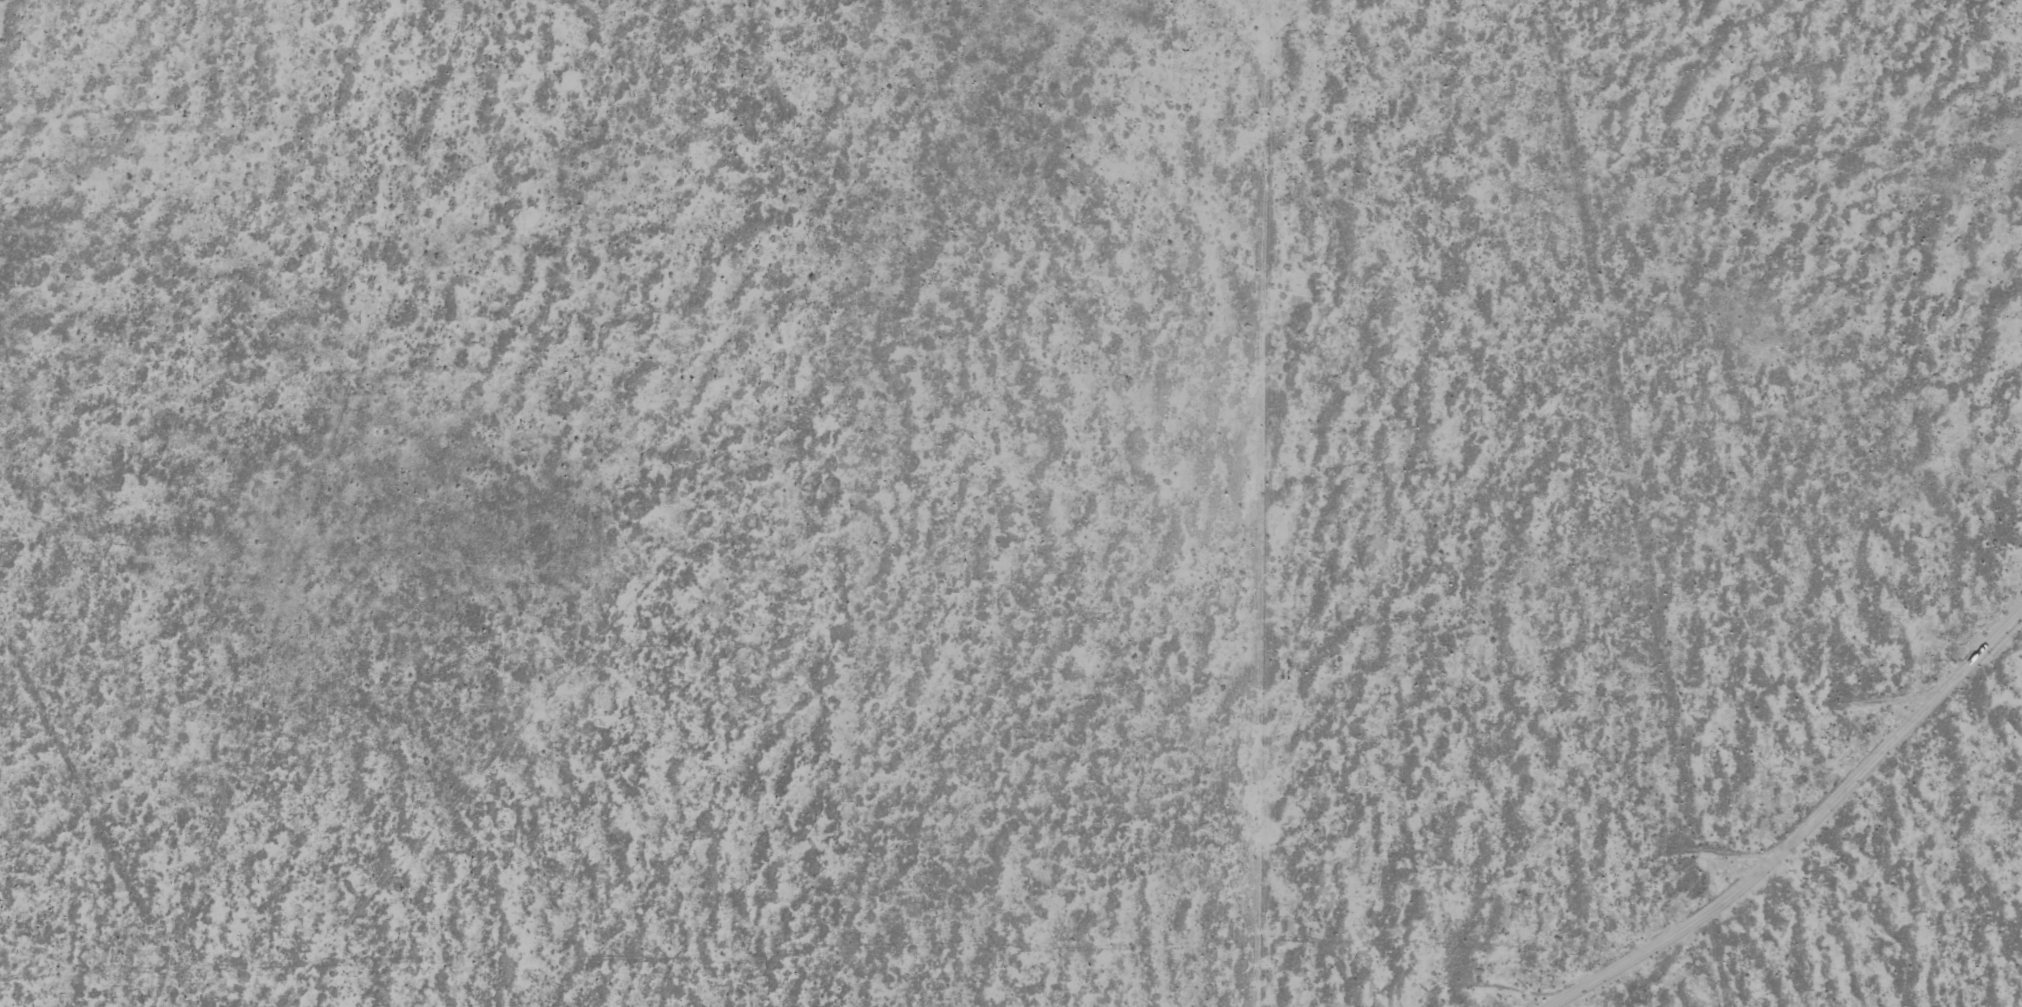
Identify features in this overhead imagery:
road: (1831, 800)
road: (1647, 985)

